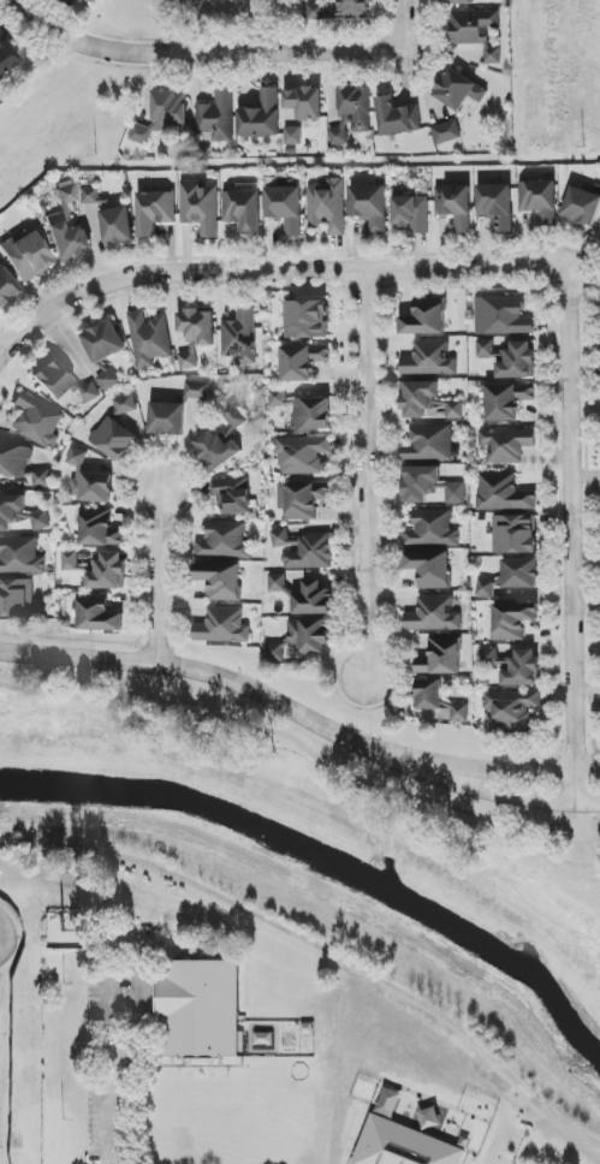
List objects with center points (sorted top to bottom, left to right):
building: (55, 0)
building: (82, 1)
building: (457, 1)
building: (339, 10)
building: (476, 31)
road: (233, 42)
building: (6, 57)
building: (458, 90)
building: (304, 102)
building: (351, 113)
building: (164, 114)
building: (261, 115)
building: (216, 118)
building: (397, 118)
building: (446, 132)
building: (292, 136)
building: (90, 195)
building: (540, 200)
building: (495, 204)
building: (327, 206)
building: (369, 206)
building: (455, 206)
building: (200, 207)
building: (581, 207)
building: (285, 208)
building: (243, 210)
building: (154, 212)
building: (411, 213)
building: (117, 225)
building: (66, 227)
building: (26, 255)
road: (529, 266)
building: (6, 286)
building: (501, 316)
building: (426, 317)
building: (305, 319)
building: (195, 334)
building: (240, 337)
building: (149, 339)
building: (102, 342)
road: (0, 348)
building: (486, 349)
building: (429, 360)
building: (518, 361)
building: (302, 362)
building: (53, 379)
building: (107, 380)
building: (196, 390)
building: (89, 392)
building: (509, 399)
building: (428, 402)
building: (125, 404)
building: (304, 410)
building: (166, 418)
building: (36, 421)
building: (113, 439)
building: (221, 441)
building: (429, 444)
building: (506, 444)
building: (302, 455)
building: (77, 457)
building: (14, 459)
road: (363, 471)
building: (37, 479)
building: (420, 482)
building: (93, 487)
building: (455, 493)
building: (503, 493)
building: (233, 495)
building: (303, 499)
building: (19, 513)
building: (99, 528)
building: (432, 529)
building: (513, 534)
building: (224, 541)
building: (304, 550)
building: (20, 556)
building: (70, 560)
building: (429, 568)
building: (108, 571)
road: (156, 571)
building: (519, 574)
building: (220, 580)
building: (275, 582)
building: (487, 588)
building: (16, 598)
building: (313, 599)
building: (97, 613)
building: (433, 614)
building: (222, 626)
building: (303, 640)
building: (440, 657)
building: (491, 657)
building: (523, 670)
building: (438, 700)
building: (511, 708)
road: (287, 711)
road: (587, 786)
building: (63, 932)
road: (320, 952)
building: (198, 1009)
road: (111, 1068)
road: (500, 1144)
building: (403, 1145)

